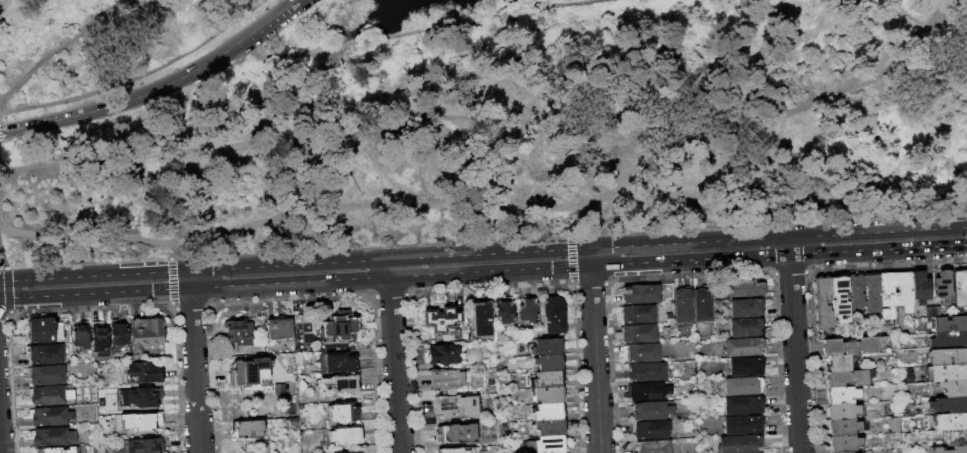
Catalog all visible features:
road: (2, 5)
road: (419, 29)
road: (910, 39)
road: (52, 48)
road: (893, 51)
road: (238, 64)
road: (139, 77)
road: (159, 88)
road: (217, 109)
road: (417, 110)
road: (773, 119)
park: (465, 122)
road: (881, 137)
road: (382, 163)
road: (786, 164)
road: (437, 172)
road: (627, 174)
road: (145, 197)
road: (481, 204)
road: (789, 246)
road: (171, 248)
road: (483, 253)
road: (2, 257)
road: (589, 257)
road: (389, 268)
road: (483, 273)
road: (190, 279)
road: (172, 280)
building: (942, 285)
building: (920, 287)
building: (960, 287)
road: (6, 289)
building: (744, 289)
building: (904, 290)
building: (856, 291)
building: (872, 292)
building: (639, 294)
building: (887, 294)
building: (839, 297)
building: (702, 303)
building: (683, 304)
building: (823, 304)
building: (748, 308)
building: (503, 310)
building: (527, 310)
building: (932, 311)
building: (554, 315)
building: (636, 315)
building: (481, 319)
building: (443, 321)
building: (950, 324)
building: (279, 327)
building: (341, 327)
building: (747, 328)
building: (44, 330)
building: (119, 331)
building: (239, 331)
building: (146, 334)
building: (638, 334)
building: (80, 335)
building: (100, 335)
building: (949, 340)
building: (852, 346)
building: (548, 347)
building: (745, 347)
building: (640, 353)
building: (43, 354)
building: (442, 355)
road: (795, 355)
building: (947, 356)
road: (595, 360)
building: (298, 361)
building: (340, 362)
building: (840, 362)
building: (549, 363)
road: (394, 366)
building: (747, 367)
road: (195, 371)
building: (249, 372)
building: (646, 372)
building: (143, 373)
building: (946, 373)
building: (45, 375)
building: (848, 378)
building: (445, 379)
building: (549, 379)
building: (340, 386)
building: (744, 386)
building: (954, 388)
building: (646, 391)
building: (280, 392)
building: (549, 395)
building: (841, 395)
building: (49, 396)
building: (142, 398)
building: (949, 404)
building: (454, 405)
building: (744, 406)
building: (650, 411)
building: (843, 411)
building: (343, 412)
building: (549, 412)
building: (49, 416)
building: (294, 421)
building: (950, 421)
building: (141, 422)
building: (744, 425)
building: (550, 427)
building: (843, 427)
building: (248, 428)
building: (650, 430)
building: (456, 433)
building: (52, 437)
building: (346, 437)
building: (956, 437)
building: (844, 443)
building: (741, 444)
building: (144, 445)
building: (547, 445)
building: (653, 447)
building: (949, 449)
building: (58, 450)
building: (458, 450)
building: (351, 452)
building: (559, 452)
building: (844, 452)

